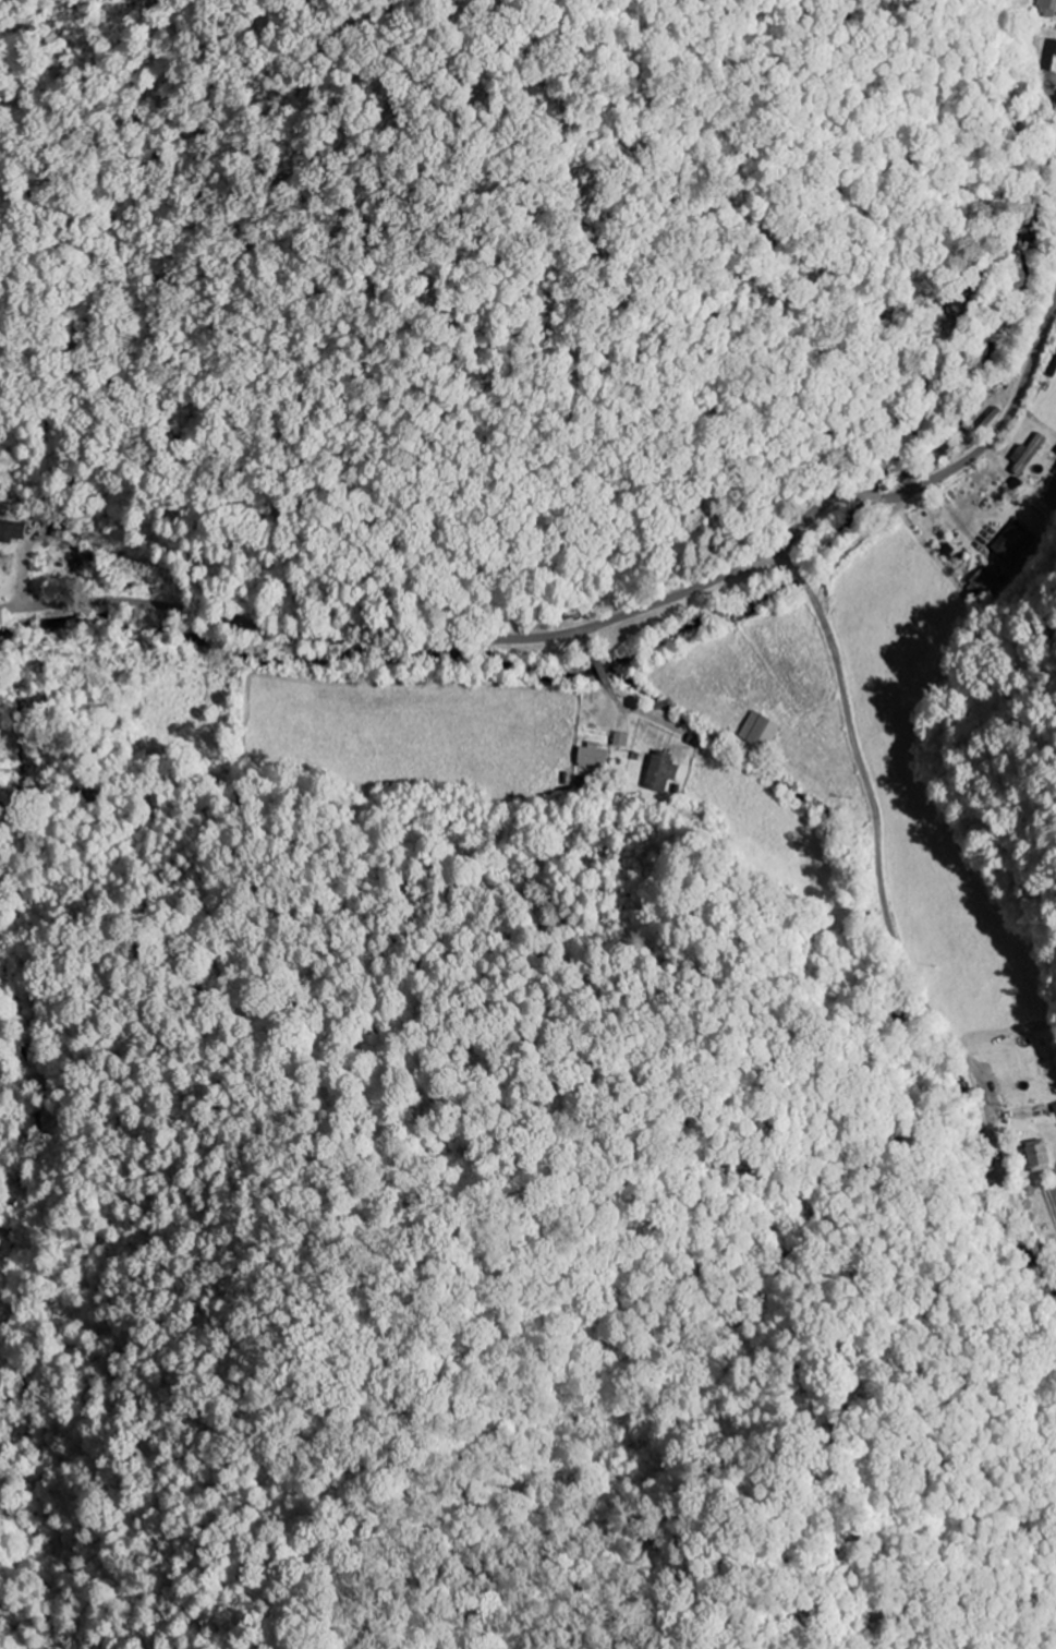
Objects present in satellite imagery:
building: (1047, 3)
building: (1049, 58)
road: (579, 303)
building: (13, 531)
building: (1015, 542)
building: (983, 582)
road: (594, 621)
road: (611, 696)
building: (763, 731)
building: (621, 739)
building: (593, 756)
road: (861, 766)
building: (663, 771)
road: (992, 1124)
building: (1037, 1156)

